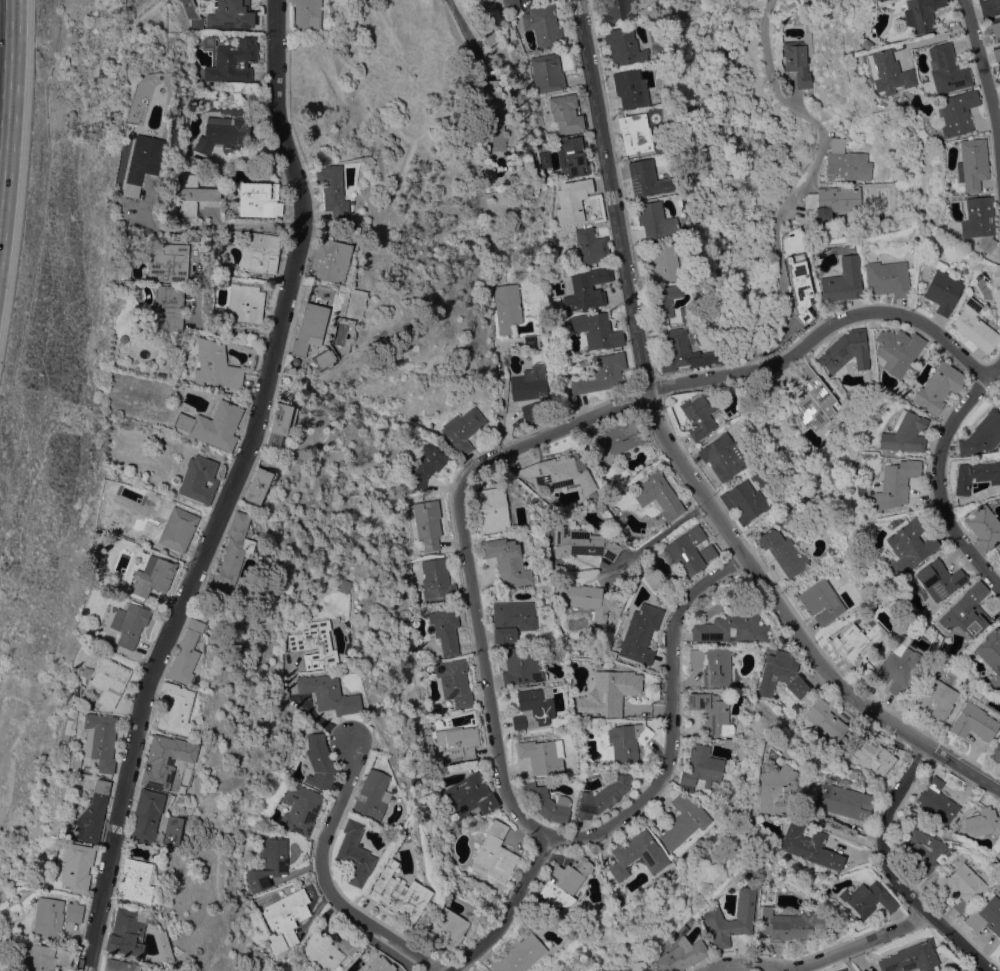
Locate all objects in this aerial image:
building: (182, 0)
building: (510, 3)
building: (989, 7)
building: (618, 11)
building: (230, 14)
building: (307, 14)
building: (921, 14)
building: (197, 23)
building: (543, 27)
road: (462, 30)
building: (996, 31)
building: (209, 42)
building: (864, 44)
building: (624, 46)
building: (996, 54)
building: (799, 59)
building: (232, 63)
building: (947, 69)
building: (999, 71)
building: (887, 72)
building: (547, 73)
building: (491, 83)
road: (985, 85)
building: (630, 88)
building: (566, 113)
building: (955, 114)
building: (497, 119)
building: (221, 133)
building: (635, 133)
building: (571, 156)
building: (545, 159)
building: (143, 162)
building: (846, 163)
building: (972, 164)
building: (646, 178)
road: (799, 183)
building: (333, 193)
building: (193, 195)
road: (611, 195)
building: (835, 198)
building: (259, 199)
building: (572, 200)
building: (852, 215)
building: (655, 220)
building: (979, 222)
road: (216, 227)
building: (591, 246)
building: (545, 247)
building: (260, 252)
building: (329, 260)
building: (169, 263)
building: (662, 263)
building: (887, 278)
building: (843, 281)
building: (800, 286)
building: (587, 288)
building: (943, 291)
building: (663, 301)
building: (245, 303)
building: (507, 307)
building: (166, 309)
building: (994, 313)
building: (685, 316)
road: (208, 325)
building: (975, 326)
building: (309, 328)
building: (598, 330)
road: (823, 333)
building: (529, 341)
building: (846, 350)
building: (897, 350)
building: (682, 351)
building: (324, 359)
building: (223, 362)
building: (600, 374)
building: (938, 387)
building: (531, 392)
road: (501, 398)
building: (815, 400)
building: (700, 414)
building: (278, 422)
building: (213, 425)
building: (463, 429)
building: (905, 433)
building: (982, 434)
building: (618, 442)
building: (723, 456)
building: (655, 460)
building: (426, 466)
road: (938, 467)
building: (559, 474)
building: (976, 475)
building: (758, 478)
building: (199, 479)
building: (896, 482)
building: (259, 484)
road: (228, 490)
building: (659, 495)
building: (745, 501)
building: (492, 510)
building: (428, 523)
building: (984, 526)
building: (178, 529)
road: (660, 535)
building: (582, 542)
building: (910, 545)
building: (687, 550)
building: (782, 551)
building: (998, 551)
building: (709, 553)
building: (232, 554)
building: (506, 561)
road: (466, 563)
building: (999, 569)
building: (153, 576)
building: (939, 579)
building: (436, 582)
building: (343, 585)
road: (766, 587)
building: (584, 599)
building: (821, 601)
building: (967, 610)
building: (511, 619)
building: (130, 623)
building: (732, 628)
building: (445, 629)
building: (640, 633)
building: (862, 642)
building: (317, 643)
building: (990, 647)
building: (186, 653)
building: (713, 666)
building: (520, 667)
building: (899, 667)
building: (784, 674)
building: (109, 679)
building: (455, 682)
building: (328, 693)
building: (609, 694)
building: (935, 698)
building: (175, 708)
building: (534, 708)
building: (712, 712)
road: (308, 713)
road: (669, 715)
building: (828, 718)
building: (974, 721)
building: (100, 740)
building: (628, 740)
building: (457, 742)
building: (730, 743)
building: (996, 753)
building: (542, 755)
building: (878, 756)
building: (159, 762)
building: (320, 762)
building: (75, 765)
building: (701, 768)
road: (964, 768)
building: (775, 789)
building: (405, 792)
building: (371, 796)
building: (602, 796)
building: (469, 797)
building: (937, 801)
building: (545, 802)
building: (843, 802)
building: (300, 808)
building: (94, 814)
building: (146, 815)
building: (684, 821)
building: (983, 822)
building: (809, 846)
building: (923, 849)
building: (354, 854)
building: (495, 854)
building: (638, 855)
building: (269, 863)
building: (76, 866)
road: (891, 872)
building: (135, 880)
road: (324, 881)
building: (566, 882)
building: (958, 885)
building: (397, 892)
building: (309, 893)
building: (868, 898)
building: (74, 912)
road: (507, 912)
building: (713, 916)
building: (986, 916)
building: (48, 918)
building: (286, 918)
building: (793, 926)
building: (446, 928)
building: (127, 932)
building: (347, 944)
building: (999, 951)
building: (322, 952)
building: (681, 953)
building: (520, 954)
building: (942, 954)
building: (45, 957)
building: (911, 958)
road: (820, 959)
building: (377, 963)
building: (120, 965)
building: (645, 969)
building: (842, 969)
building: (959, 970)
building: (962, 970)
building: (964, 970)

